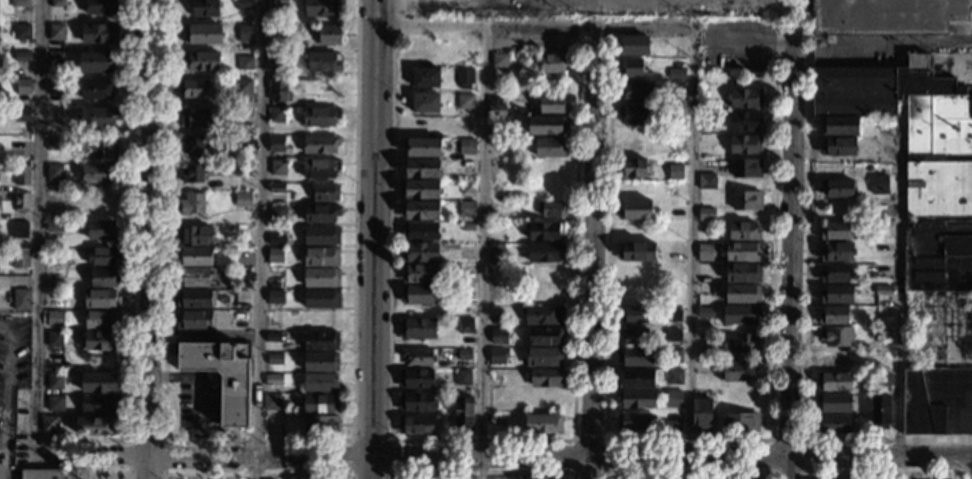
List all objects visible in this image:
building: (20, 3)
building: (57, 3)
building: (280, 4)
building: (245, 5)
building: (101, 6)
building: (205, 8)
building: (324, 8)
building: (886, 16)
road: (589, 24)
building: (22, 32)
building: (56, 32)
building: (280, 32)
building: (98, 33)
building: (245, 33)
building: (203, 34)
building: (328, 34)
road: (743, 41)
building: (634, 46)
parking lot: (735, 47)
building: (279, 58)
building: (56, 59)
building: (23, 60)
building: (202, 61)
building: (499, 61)
building: (97, 62)
building: (323, 62)
building: (245, 63)
building: (553, 63)
building: (631, 68)
building: (425, 78)
building: (465, 78)
building: (23, 87)
building: (55, 87)
building: (194, 88)
building: (241, 89)
building: (677, 89)
building: (98, 90)
building: (278, 90)
building: (636, 90)
building: (746, 99)
building: (465, 101)
building: (425, 103)
building: (552, 104)
building: (496, 107)
building: (244, 113)
building: (22, 115)
building: (277, 115)
building: (636, 115)
building: (98, 117)
building: (321, 117)
building: (201, 118)
building: (707, 120)
building: (745, 121)
building: (547, 125)
building: (839, 126)
building: (911, 126)
building: (498, 128)
building: (54, 144)
building: (244, 144)
building: (276, 144)
building: (320, 144)
building: (745, 145)
building: (201, 146)
building: (467, 146)
building: (423, 147)
building: (550, 147)
building: (839, 147)
building: (104, 148)
building: (869, 167)
building: (278, 168)
building: (746, 168)
building: (242, 169)
building: (320, 169)
building: (421, 169)
building: (633, 169)
building: (54, 172)
building: (675, 172)
building: (98, 173)
building: (192, 174)
building: (22, 175)
building: (707, 182)
building: (878, 183)
building: (468, 187)
building: (277, 188)
building: (836, 188)
building: (420, 189)
building: (325, 193)
building: (83, 197)
road: (482, 197)
building: (243, 199)
building: (746, 200)
building: (21, 202)
building: (60, 204)
building: (192, 204)
building: (466, 209)
building: (551, 209)
building: (636, 210)
building: (420, 211)
building: (280, 212)
building: (320, 214)
building: (706, 214)
building: (54, 225)
road: (36, 227)
road: (149, 227)
building: (468, 227)
road: (258, 228)
building: (20, 230)
building: (104, 230)
building: (420, 231)
building: (545, 231)
building: (744, 231)
building: (835, 231)
building: (195, 236)
building: (321, 236)
road: (371, 239)
road: (590, 239)
building: (276, 240)
road: (691, 240)
building: (881, 248)
building: (497, 252)
building: (545, 252)
building: (636, 252)
building: (705, 252)
building: (743, 252)
building: (836, 252)
building: (419, 253)
building: (103, 256)
building: (275, 256)
road: (790, 256)
building: (938, 256)
building: (195, 257)
building: (321, 257)
building: (20, 258)
building: (48, 264)
road: (131, 266)
building: (498, 272)
building: (545, 273)
building: (742, 273)
building: (419, 274)
building: (835, 274)
building: (104, 277)
building: (192, 277)
building: (321, 278)
building: (52, 284)
building: (882, 291)
road: (898, 292)
building: (742, 294)
building: (836, 294)
building: (418, 295)
building: (275, 297)
building: (321, 298)
building: (101, 299)
building: (194, 299)
building: (21, 300)
building: (705, 312)
building: (882, 313)
building: (543, 315)
building: (740, 315)
building: (672, 316)
building: (834, 316)
building: (55, 318)
building: (635, 318)
building: (102, 320)
building: (194, 320)
road: (804, 320)
building: (464, 326)
building: (418, 329)
building: (878, 331)
building: (545, 335)
building: (672, 335)
building: (499, 336)
building: (273, 337)
building: (635, 337)
building: (836, 337)
building: (54, 339)
building: (321, 341)
building: (100, 342)
building: (741, 343)
building: (464, 354)
building: (497, 355)
building: (674, 355)
building: (417, 357)
building: (544, 357)
building: (635, 357)
building: (275, 359)
building: (834, 361)
building: (321, 362)
building: (55, 363)
building: (737, 371)
building: (223, 375)
parking lot: (12, 376)
building: (675, 376)
building: (462, 378)
building: (545, 378)
building: (273, 379)
building: (416, 379)
building: (636, 379)
building: (883, 379)
building: (55, 382)
building: (834, 382)
building: (101, 383)
building: (321, 383)
road: (4, 389)
building: (673, 397)
building: (637, 399)
building: (271, 402)
building: (416, 402)
building: (937, 402)
building: (99, 403)
building: (833, 403)
building: (55, 404)
building: (319, 404)
building: (880, 412)
building: (463, 414)
building: (703, 416)
building: (497, 420)
building: (636, 420)
building: (672, 420)
building: (741, 422)
building: (49, 424)
building: (543, 424)
building: (833, 424)
building: (321, 425)
building: (416, 425)
building: (95, 426)
road: (257, 439)
road: (683, 439)
road: (469, 440)
road: (90, 455)
road: (201, 455)
road: (422, 457)
road: (780, 459)
road: (146, 466)
road: (4, 467)
road: (590, 467)
road: (255, 468)
road: (130, 470)
road: (802, 471)
road: (883, 471)
road: (481, 472)
road: (604, 472)
road: (688, 472)
road: (351, 473)
building: (49, 474)
parking lot: (106, 474)
road: (128, 474)
road: (256, 474)
building: (736, 477)
building: (318, 478)
building: (541, 478)

